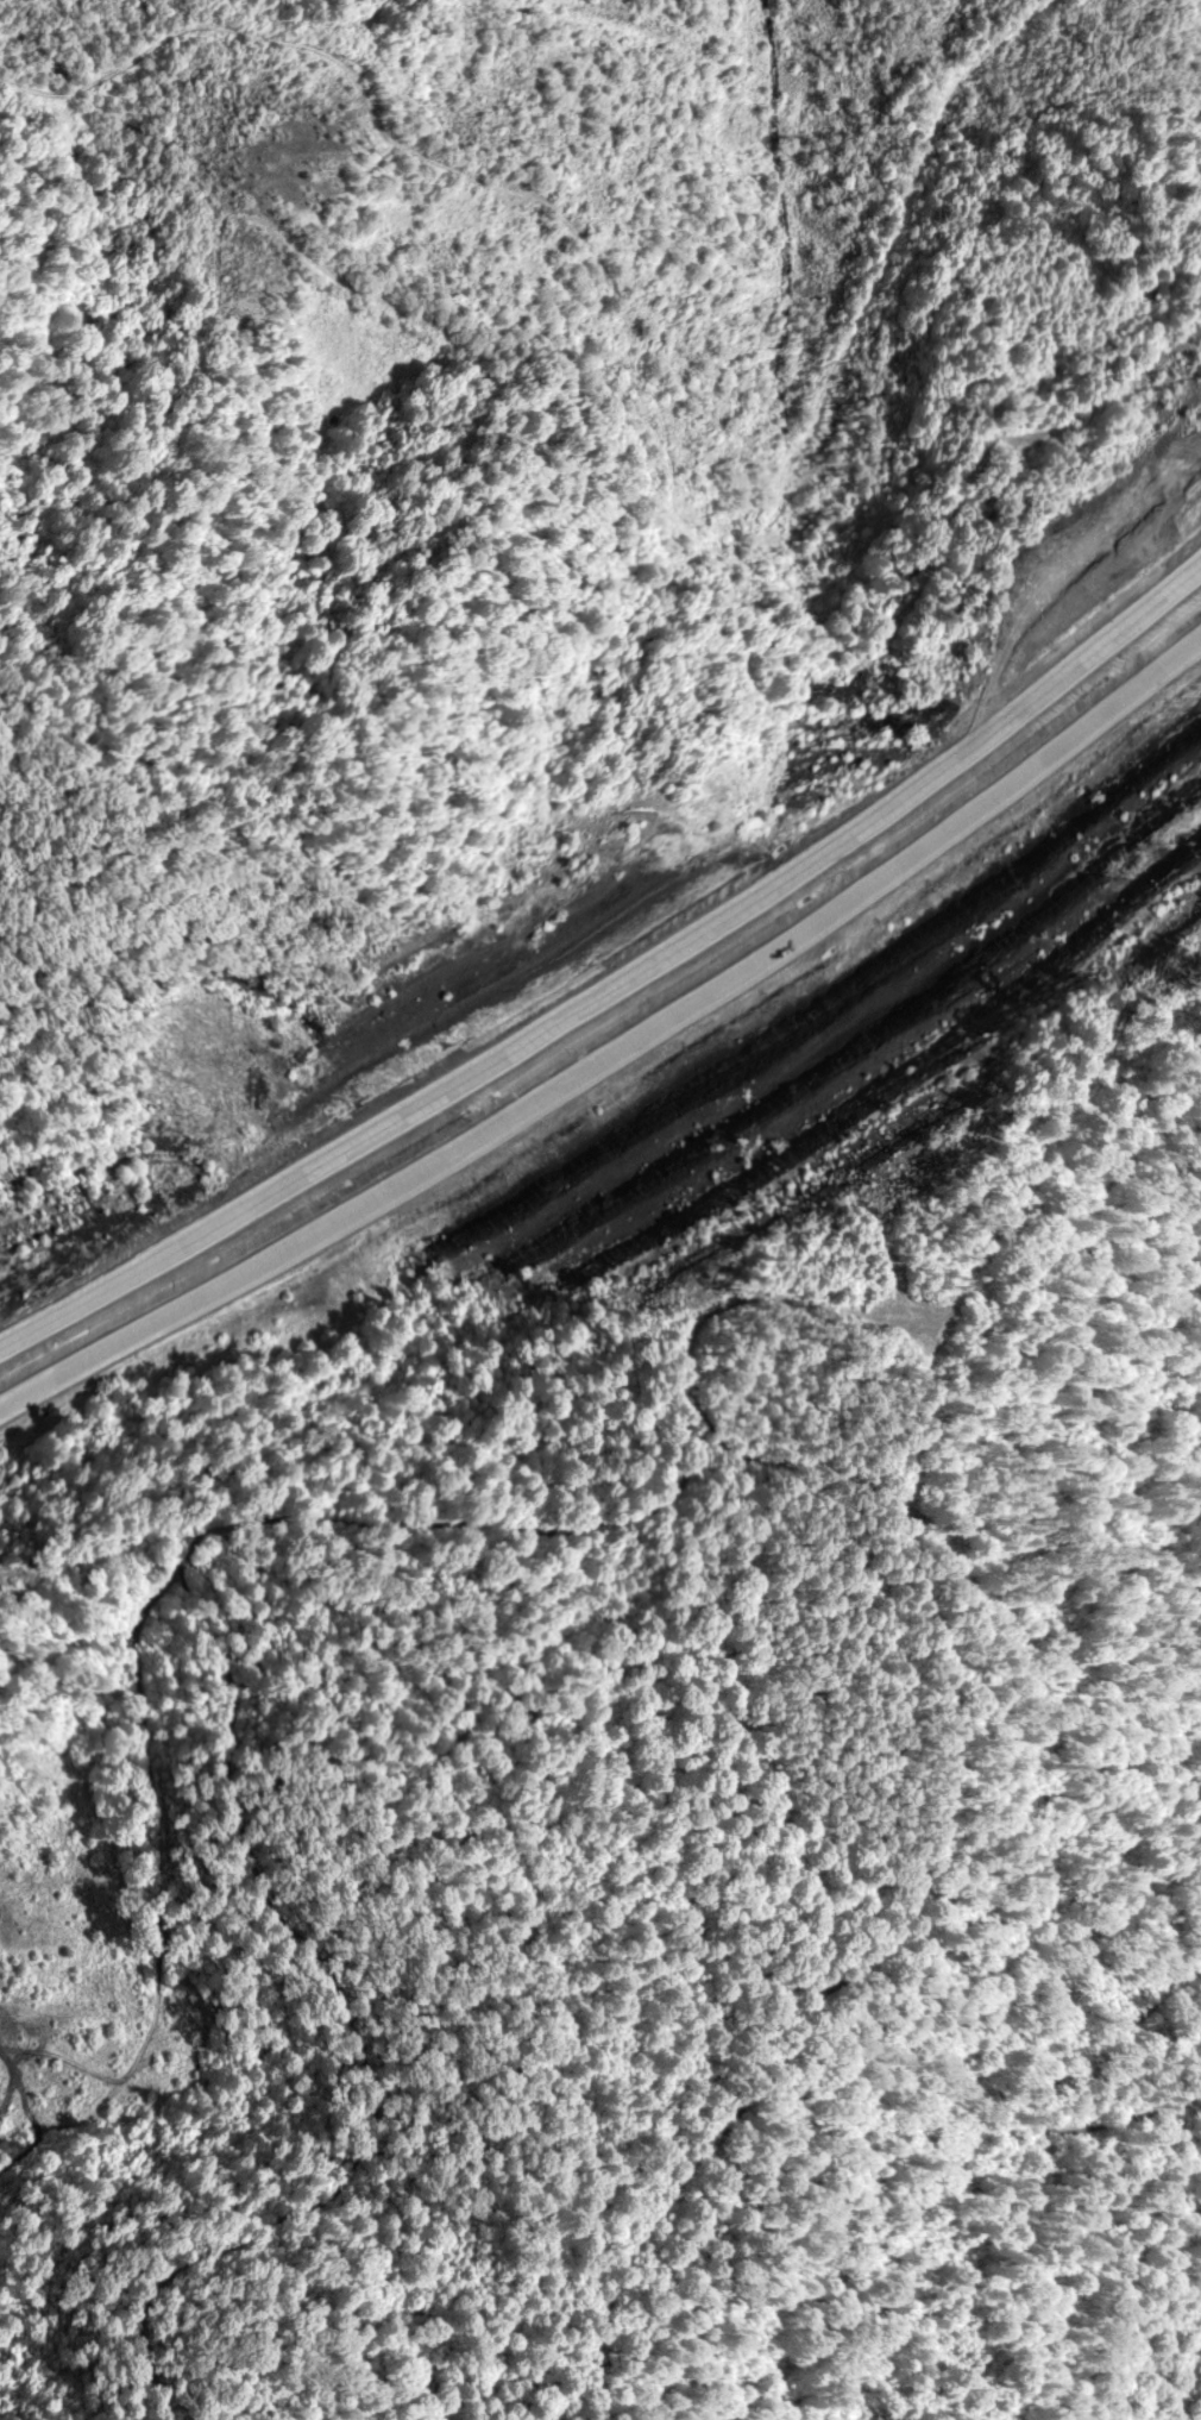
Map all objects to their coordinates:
road: (295, 44)
road: (629, 1015)
road: (633, 1080)
quarry: (813, 1129)
quarry: (69, 1937)

